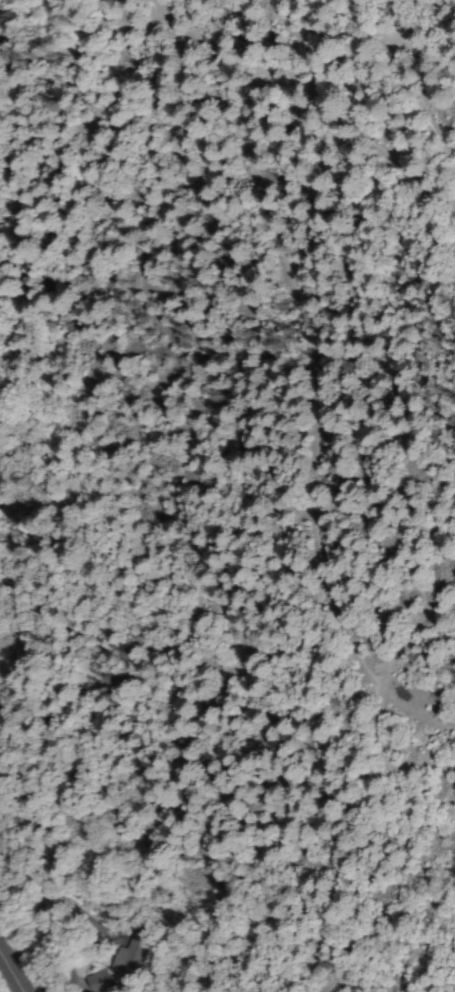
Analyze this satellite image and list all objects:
building: (102, 935)
building: (123, 961)
road: (8, 977)
building: (95, 982)

